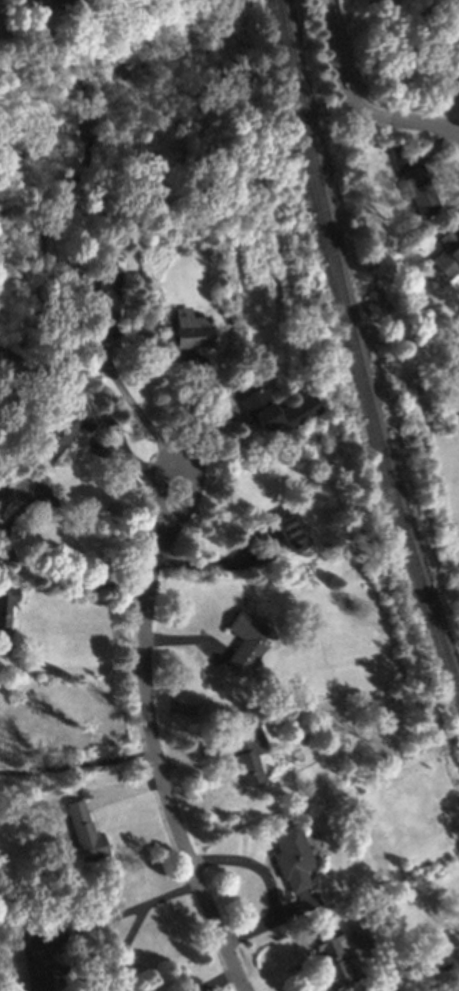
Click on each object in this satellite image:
road: (15, 4)
building: (41, 7)
building: (0, 11)
building: (2, 30)
road: (357, 103)
road: (424, 153)
building: (420, 192)
building: (448, 254)
building: (106, 297)
building: (385, 306)
building: (190, 332)
railway: (355, 347)
building: (249, 369)
road: (131, 402)
road: (192, 410)
building: (278, 410)
building: (66, 427)
road: (216, 427)
road: (115, 430)
road: (241, 442)
road: (181, 465)
building: (8, 489)
road: (89, 516)
building: (289, 530)
building: (259, 546)
road: (201, 565)
road: (41, 567)
building: (5, 616)
building: (246, 641)
road: (207, 659)
road: (1, 663)
road: (71, 670)
building: (248, 754)
road: (193, 755)
road: (77, 765)
road: (158, 773)
road: (124, 793)
building: (84, 831)
building: (292, 857)
road: (252, 864)
road: (137, 907)
road: (268, 921)
building: (38, 958)
building: (441, 960)
building: (332, 961)
road: (101, 973)
road: (280, 974)
road: (219, 982)

